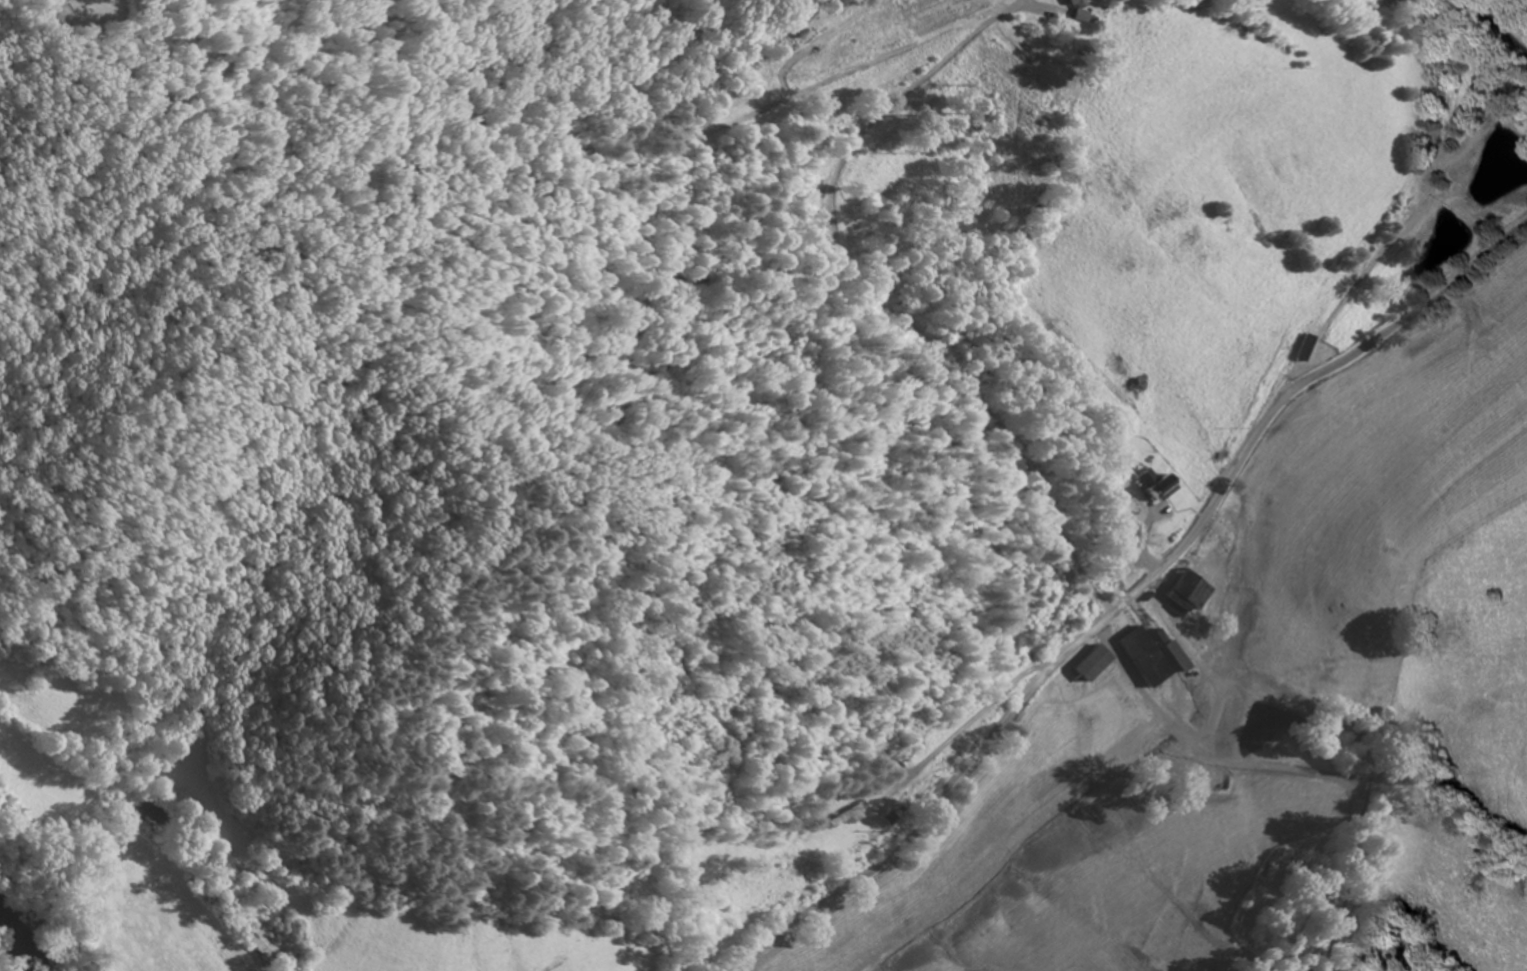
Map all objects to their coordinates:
building: (1069, 3)
road: (1496, 23)
road: (1130, 597)
building: (1174, 660)
building: (1143, 666)
building: (268, 947)
river: (6, 962)

